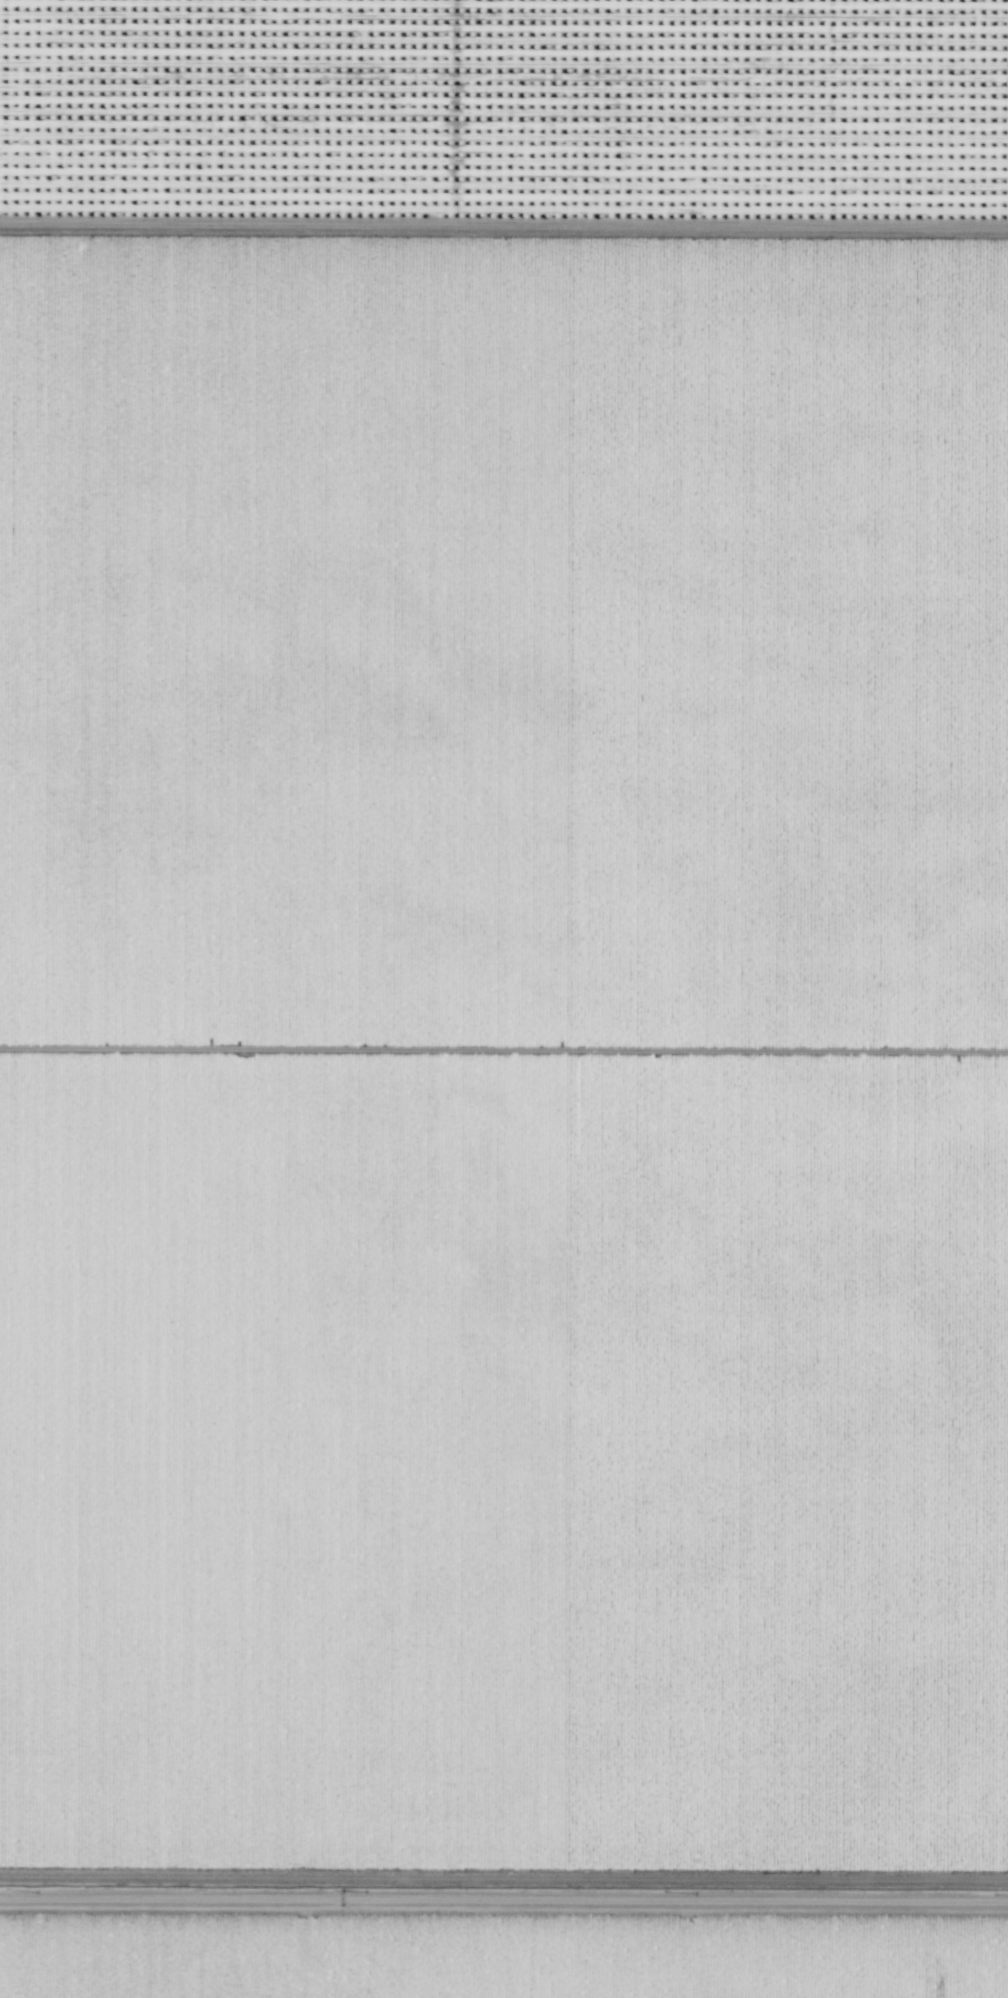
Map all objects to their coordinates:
road: (504, 1903)

